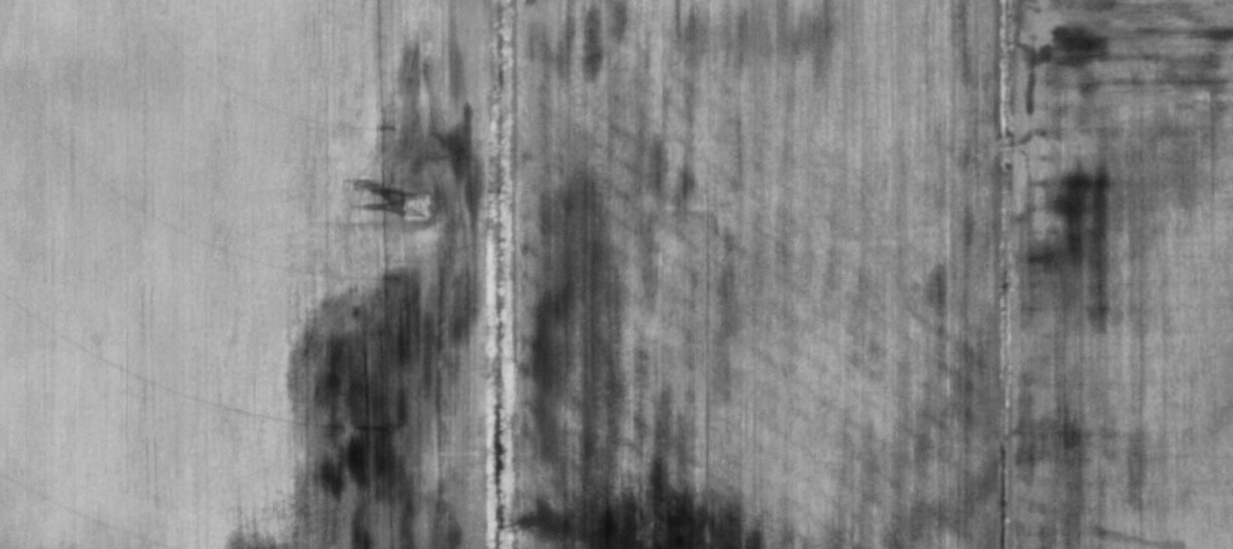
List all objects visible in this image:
power tower: (412, 204)

